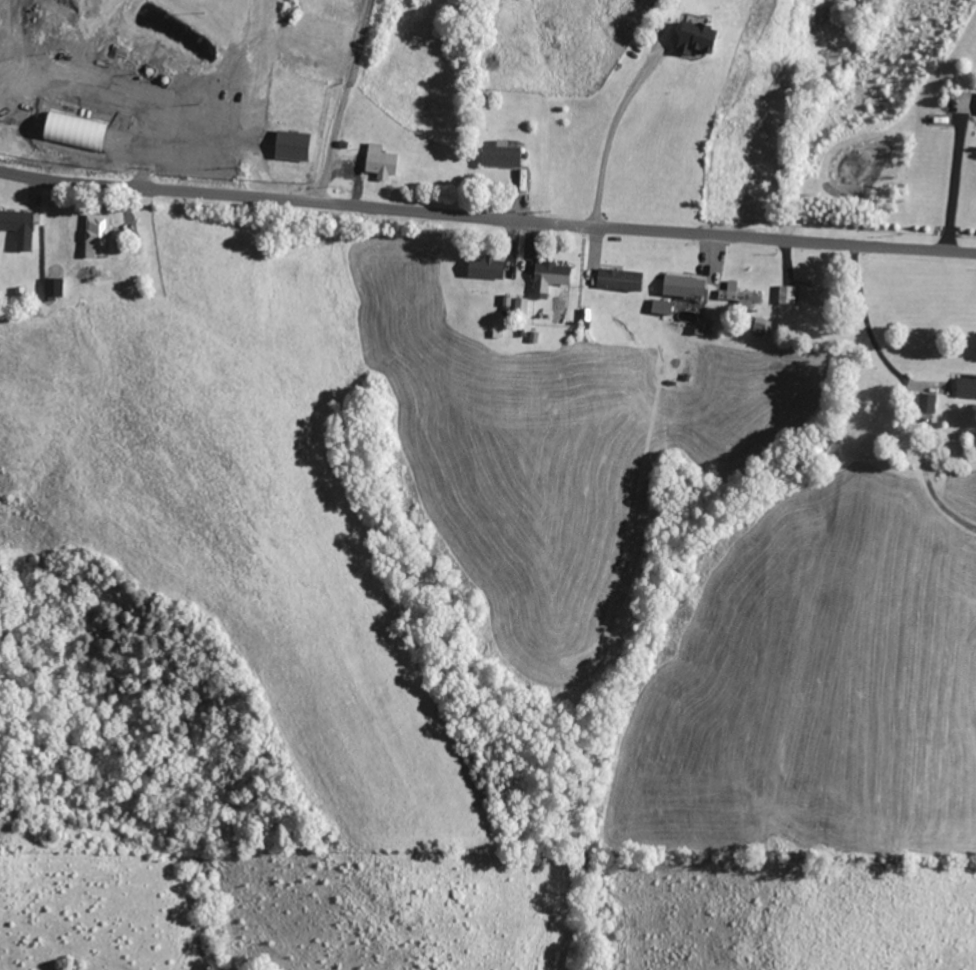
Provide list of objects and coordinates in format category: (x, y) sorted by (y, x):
building: (693, 38)
building: (71, 130)
road: (610, 131)
building: (290, 145)
building: (497, 155)
building: (377, 162)
road: (951, 185)
road: (487, 216)
building: (17, 227)
building: (483, 268)
building: (547, 277)
building: (616, 279)
building: (682, 286)
building: (52, 287)
building: (735, 295)
building: (784, 295)
building: (808, 296)
building: (504, 303)
building: (518, 305)
building: (759, 326)
building: (965, 386)
building: (924, 402)

